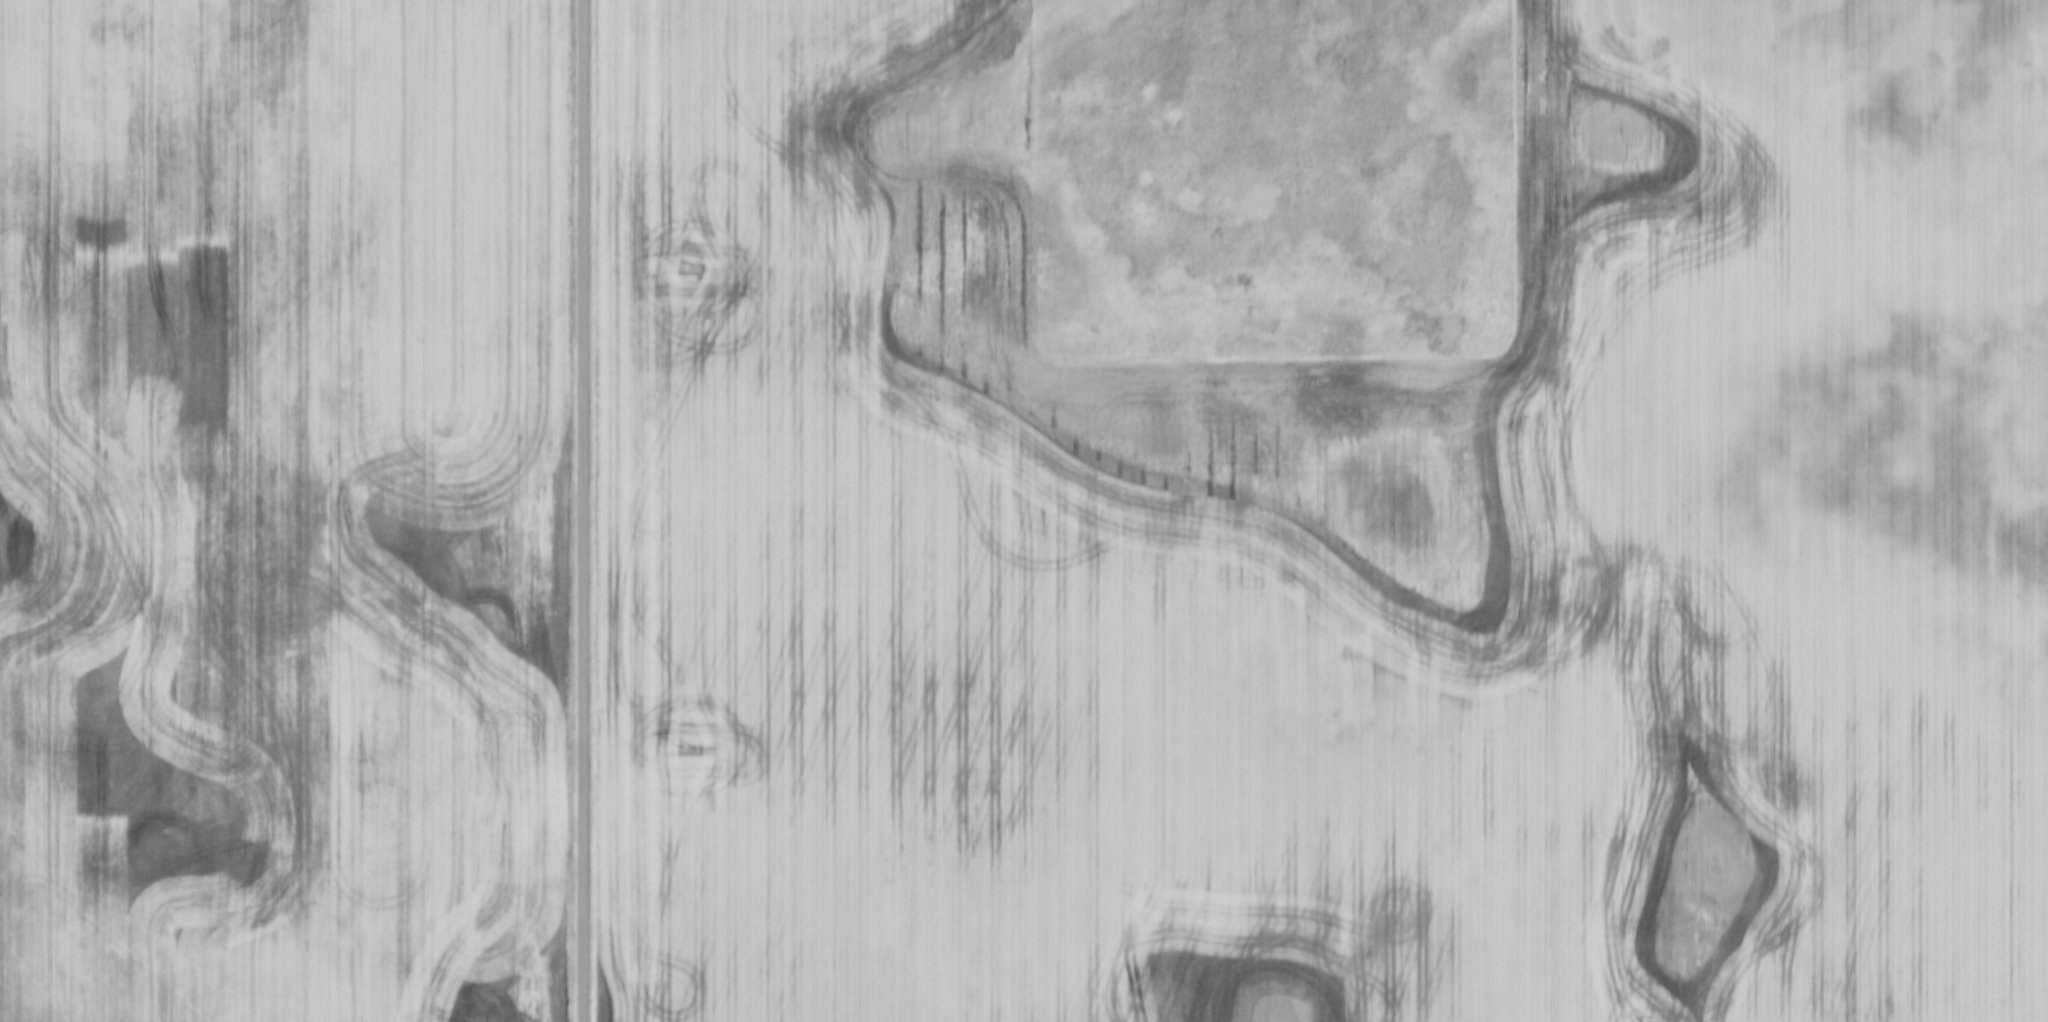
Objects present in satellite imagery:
power tower: (688, 271)
road: (584, 510)
power tower: (685, 752)

